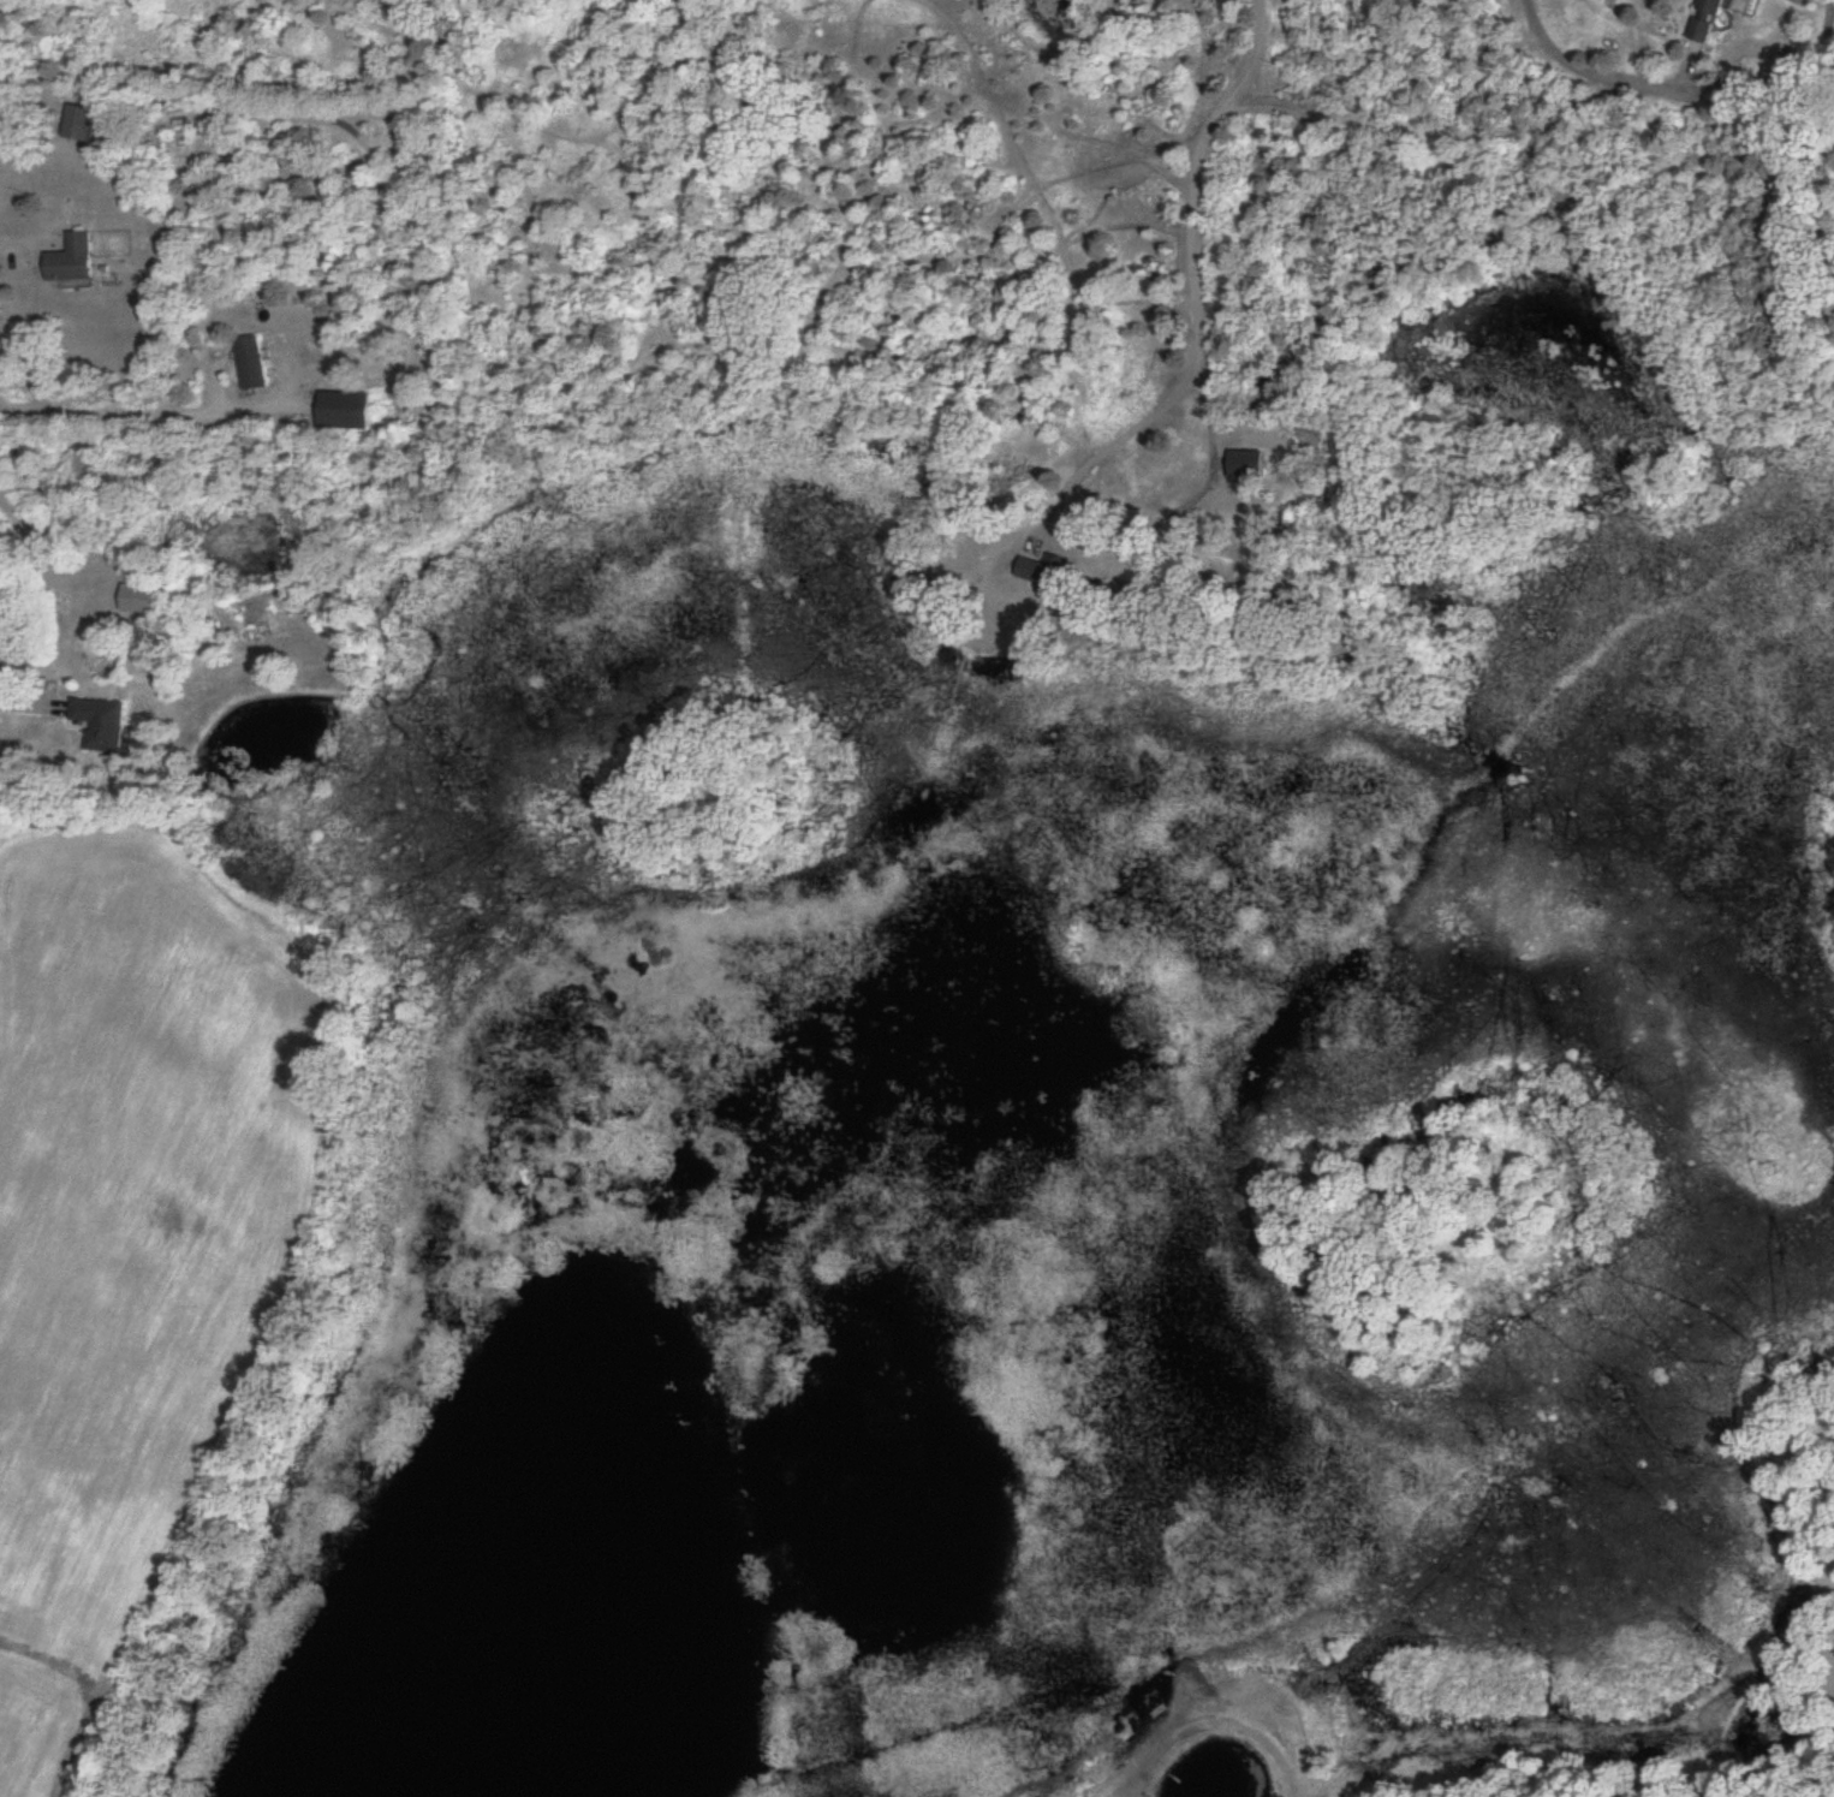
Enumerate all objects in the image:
building: (1457, 0)
building: (1699, 20)
road: (1589, 70)
building: (76, 124)
road: (1195, 167)
building: (67, 260)
road: (376, 326)
building: (250, 363)
building: (344, 411)
building: (1241, 465)
road: (1092, 537)
building: (1041, 573)
building: (135, 599)
building: (97, 724)

